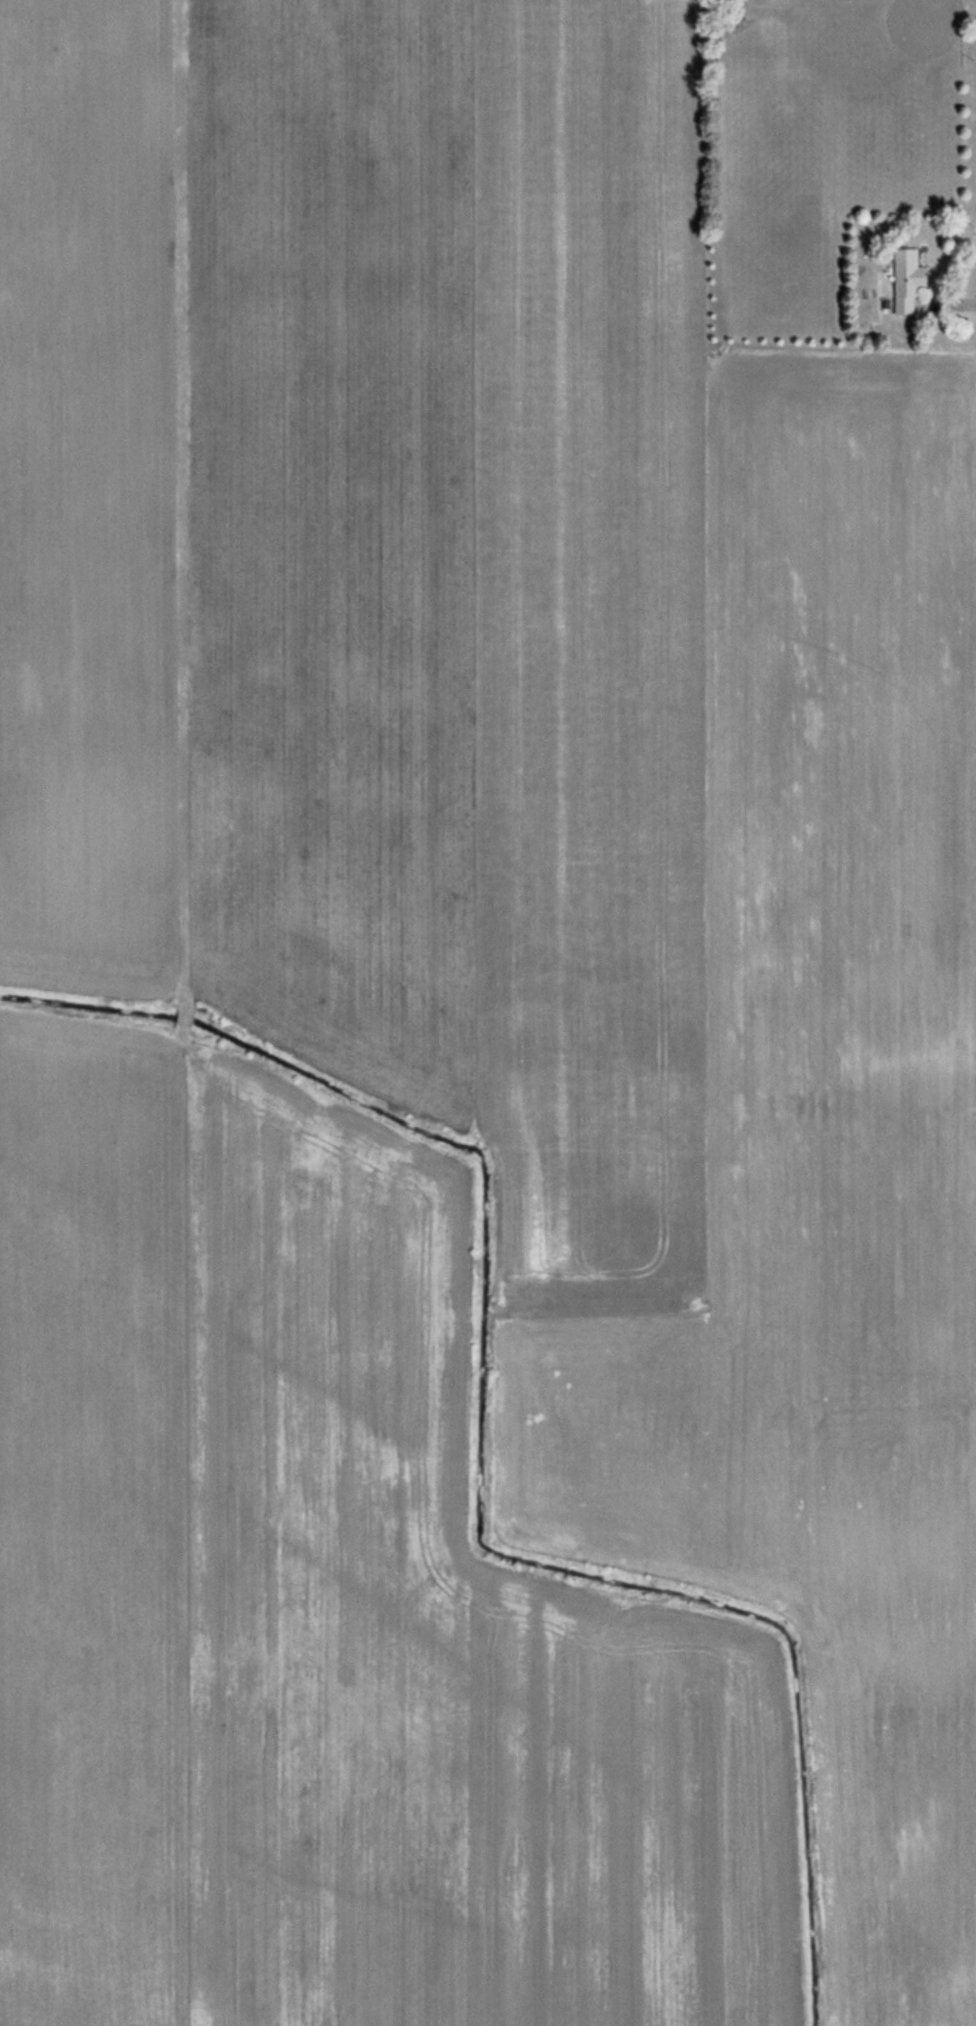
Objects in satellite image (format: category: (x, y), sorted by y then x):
building: (910, 279)

